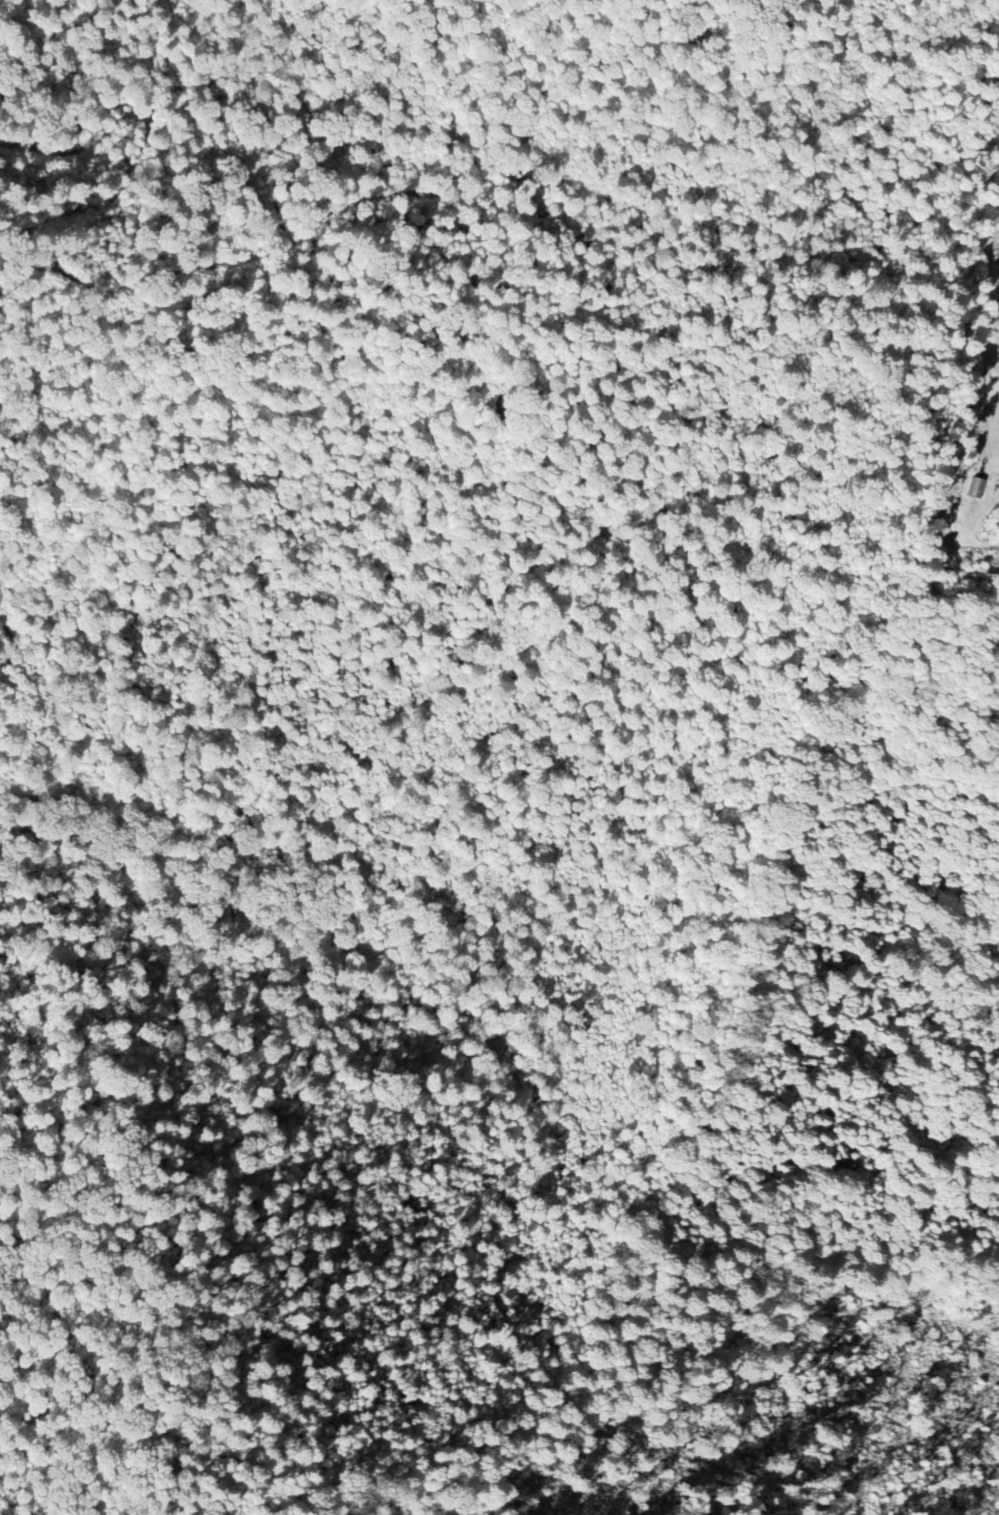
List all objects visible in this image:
road: (970, 522)
road: (8, 641)

